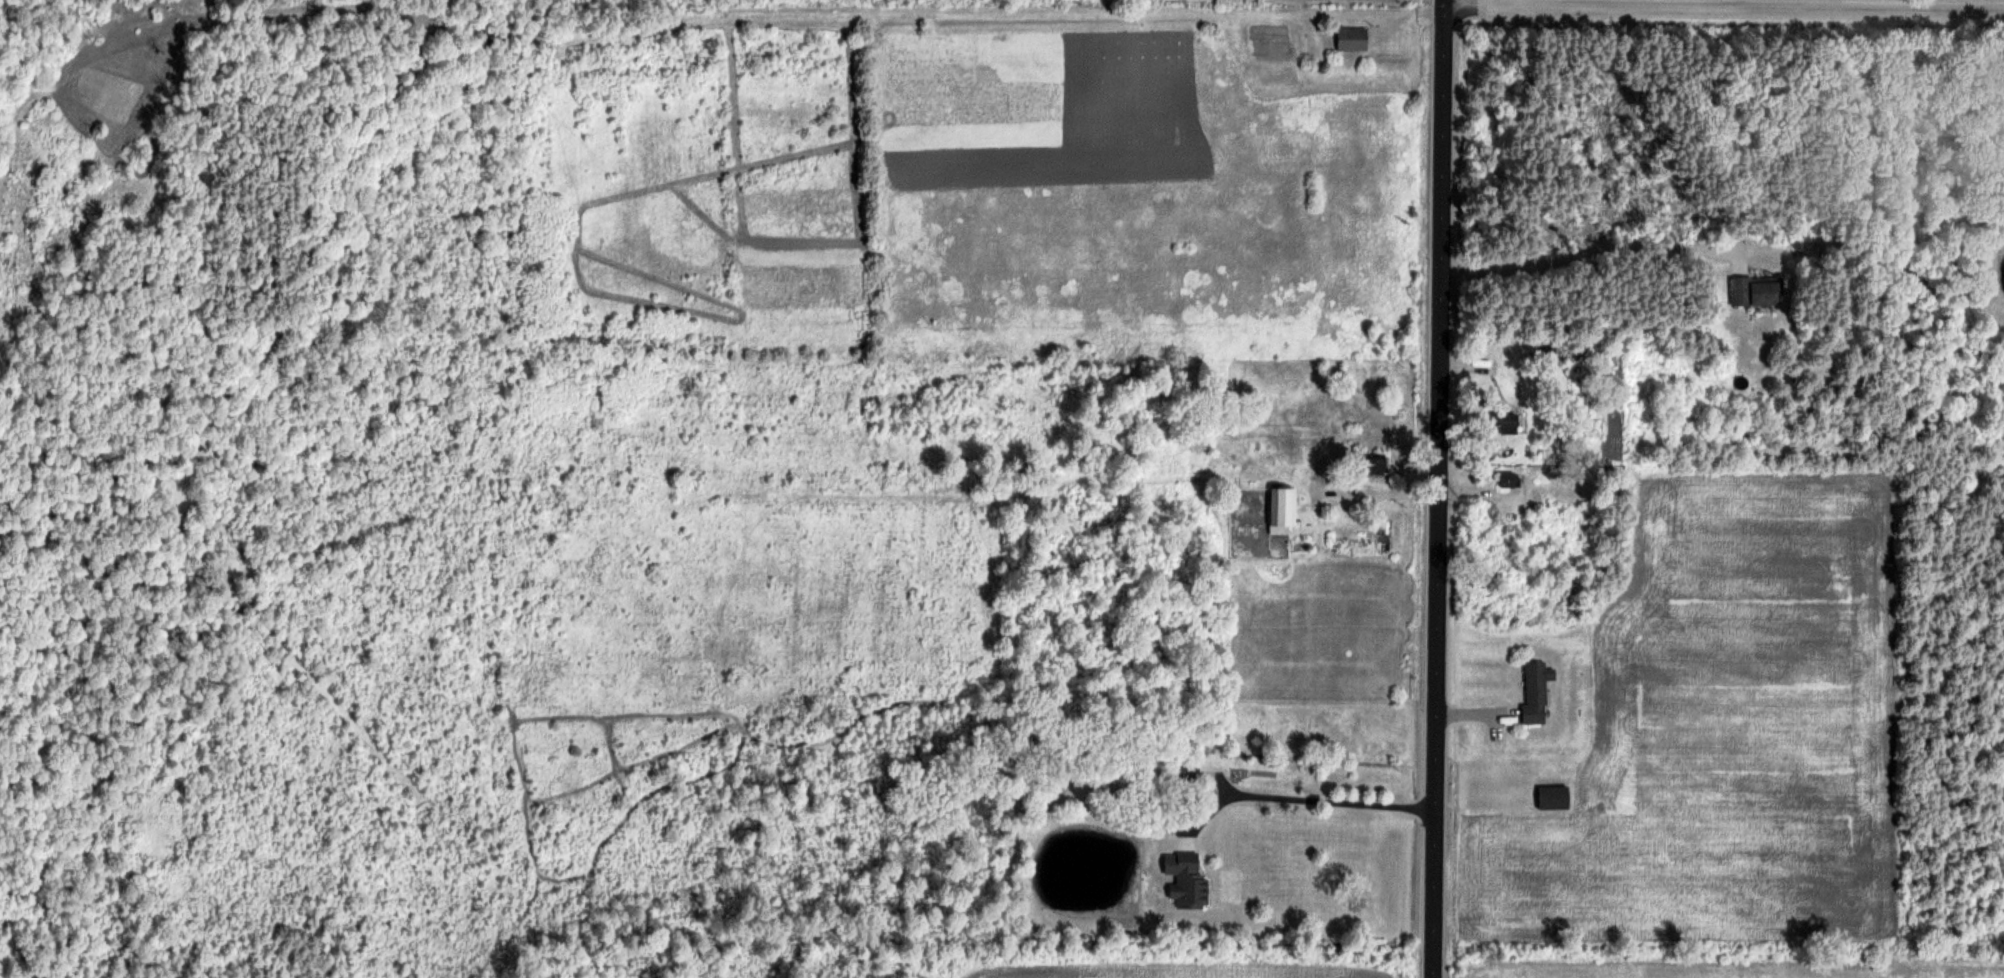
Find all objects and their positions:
road: (1724, 8)
building: (1352, 37)
road: (1594, 249)
building: (1755, 290)
building: (1504, 420)
building: (1375, 463)
building: (1510, 478)
road: (1438, 488)
road: (1374, 492)
building: (1282, 505)
building: (1535, 691)
building: (1189, 775)
building: (1552, 797)
road: (1303, 798)
building: (1185, 878)

